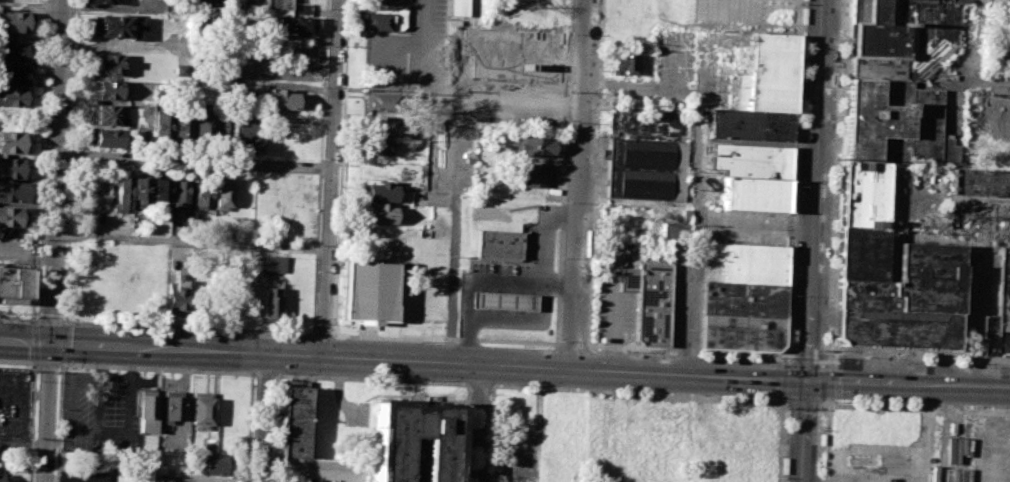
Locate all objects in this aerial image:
building: (99, 1)
building: (997, 1)
parking lot: (230, 6)
building: (277, 7)
building: (457, 8)
building: (300, 9)
road: (715, 12)
parking lot: (726, 12)
building: (380, 17)
road: (799, 17)
building: (13, 21)
building: (123, 26)
building: (296, 26)
street lamp: (571, 33)
building: (900, 37)
street lamp: (327, 45)
building: (14, 52)
building: (627, 64)
building: (110, 65)
road: (469, 73)
road: (73, 74)
building: (764, 74)
building: (14, 75)
road: (323, 80)
parking lot: (467, 82)
building: (108, 90)
building: (635, 92)
building: (13, 96)
building: (281, 101)
road: (523, 101)
building: (377, 102)
building: (106, 114)
building: (1002, 119)
street lamp: (567, 121)
building: (161, 125)
building: (377, 125)
building: (749, 125)
building: (182, 126)
building: (203, 127)
building: (221, 129)
road: (458, 132)
building: (246, 133)
building: (106, 137)
building: (885, 141)
building: (13, 142)
building: (375, 146)
building: (535, 146)
power tower: (835, 155)
road: (71, 156)
street lamp: (322, 157)
street lamp: (290, 158)
road: (39, 159)
building: (749, 161)
road: (194, 163)
road: (319, 166)
road: (340, 167)
building: (644, 167)
building: (13, 168)
road: (564, 172)
road: (595, 173)
building: (533, 176)
road: (330, 178)
road: (839, 179)
road: (792, 180)
building: (978, 182)
road: (583, 185)
building: (141, 188)
road: (818, 190)
building: (380, 191)
building: (13, 192)
building: (122, 193)
building: (160, 193)
building: (180, 193)
building: (754, 193)
building: (203, 195)
building: (223, 196)
street lamp: (564, 201)
building: (379, 214)
building: (977, 215)
building: (12, 217)
building: (677, 231)
road: (53, 240)
road: (191, 241)
building: (497, 242)
road: (67, 243)
street lamp: (319, 244)
building: (861, 251)
road: (316, 253)
street lamp: (562, 257)
building: (749, 261)
building: (266, 263)
road: (452, 277)
road: (478, 278)
building: (14, 284)
parking lot: (510, 286)
road: (540, 288)
building: (365, 289)
building: (177, 295)
parking lot: (686, 295)
building: (500, 299)
building: (271, 300)
building: (904, 301)
building: (650, 302)
parking lot: (614, 310)
building: (998, 312)
road: (689, 315)
building: (742, 316)
street lamp: (30, 318)
road: (17, 319)
road: (49, 320)
street lamp: (74, 324)
street lamp: (316, 324)
road: (188, 328)
street lamp: (198, 330)
road: (323, 334)
street lamp: (283, 335)
road: (446, 339)
street lamp: (420, 341)
street lamp: (559, 342)
traffic signals: (50, 344)
road: (574, 344)
street lamp: (522, 345)
street lamp: (825, 349)
road: (686, 350)
street lamp: (627, 351)
road: (809, 352)
road: (832, 354)
road: (921, 355)
road: (785, 356)
street lamp: (867, 356)
street lamp: (780, 358)
road: (405, 361)
road: (18, 362)
road: (48, 363)
street lamp: (985, 363)
street lamp: (33, 367)
street lamp: (64, 367)
road: (156, 368)
street lamp: (197, 368)
road: (263, 373)
street lamp: (282, 373)
road: (831, 377)
road: (371, 379)
street lamp: (424, 380)
road: (784, 380)
street lamp: (38, 381)
traffic signals: (810, 382)
road: (479, 384)
street lamp: (522, 385)
road: (909, 386)
street lamp: (626, 390)
road: (637, 392)
street lamp: (492, 394)
street lamp: (832, 401)
road: (786, 405)
road: (803, 405)
building: (172, 406)
street lamp: (984, 406)
street lamp: (787, 408)
road: (914, 408)
parking lot: (103, 409)
building: (201, 411)
building: (146, 412)
road: (263, 418)
road: (32, 422)
building: (294, 422)
road: (59, 423)
road: (479, 423)
road: (251, 427)
road: (274, 428)
road: (808, 431)
road: (466, 433)
road: (492, 433)
road: (925, 434)
road: (828, 439)
building: (412, 440)
road: (781, 440)
building: (749, 441)
building: (148, 443)
parking lot: (973, 450)
parking lot: (879, 463)
building: (214, 465)
street lamp: (487, 474)
road: (310, 475)
building: (2, 477)
building: (161, 480)

